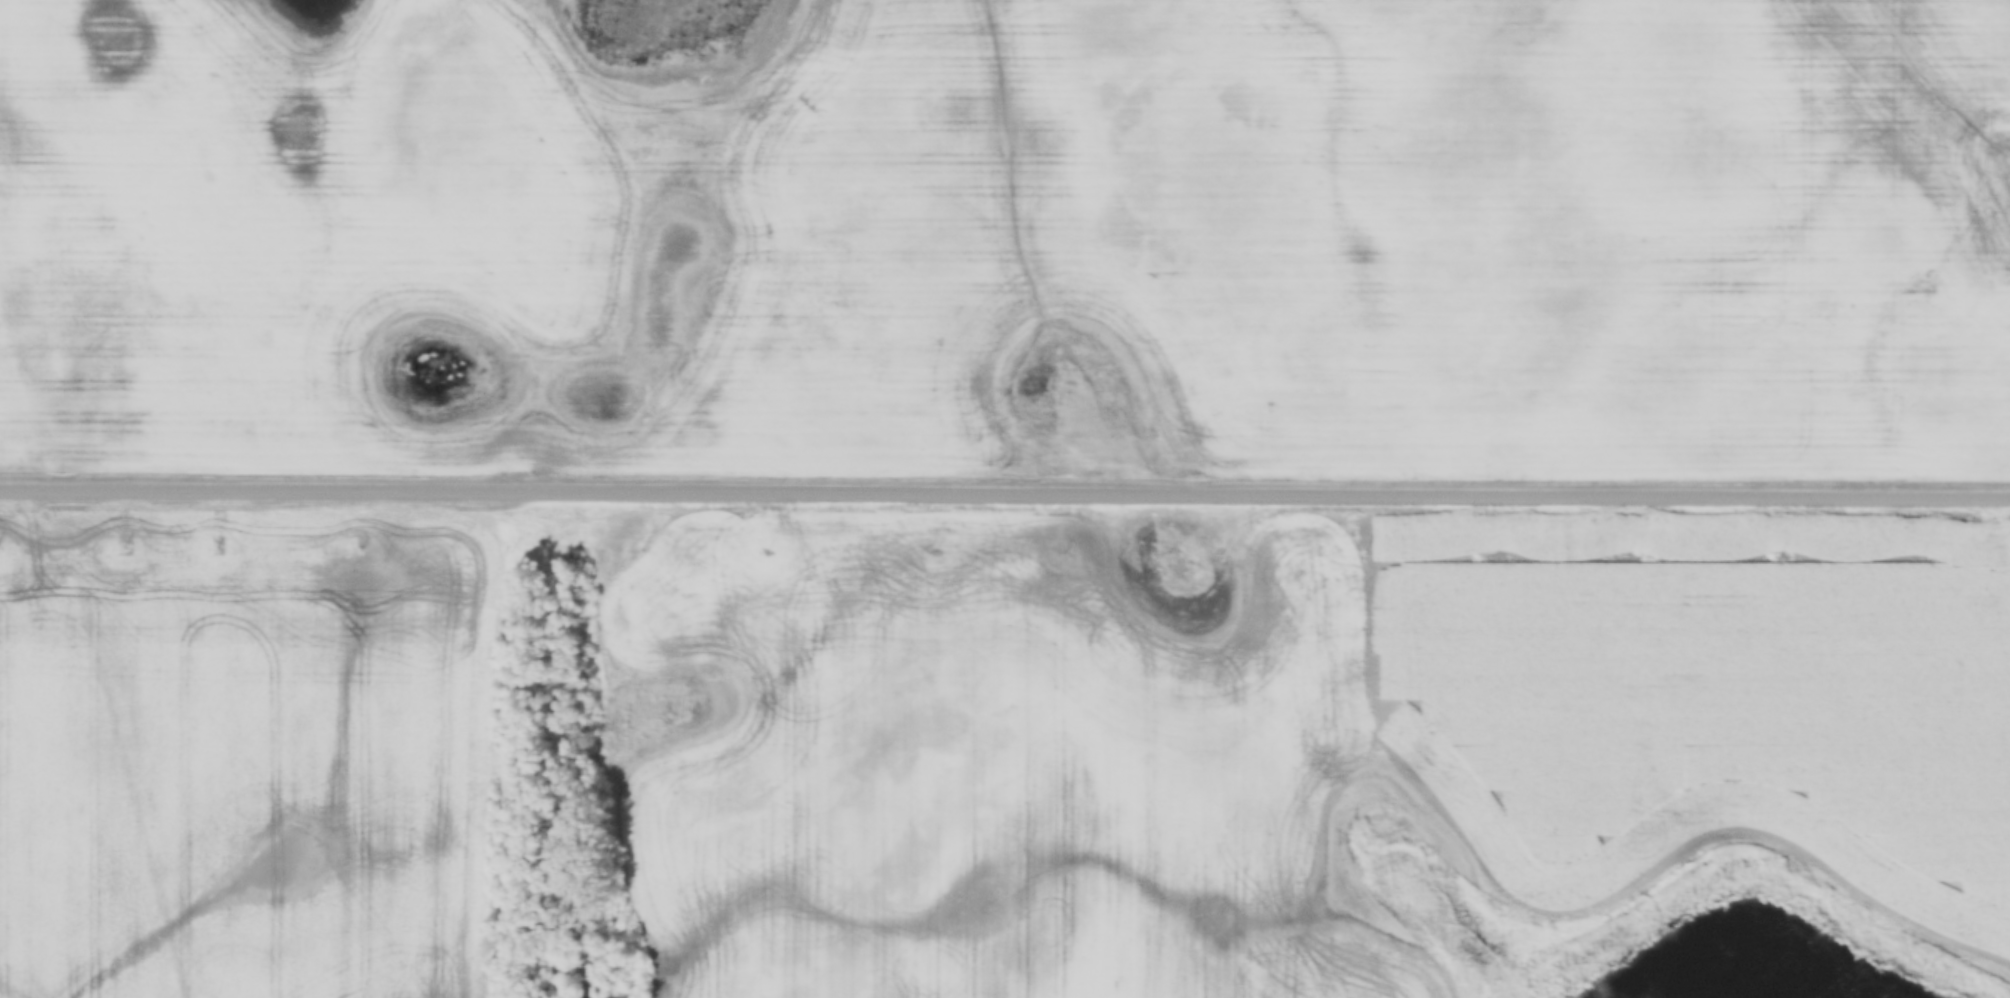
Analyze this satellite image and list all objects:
road: (1005, 492)

